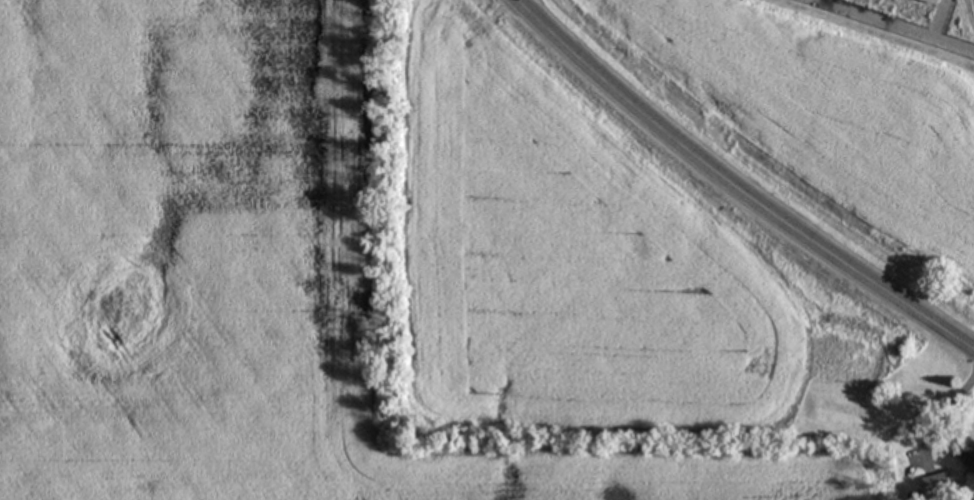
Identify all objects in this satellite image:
road: (515, 0)
building: (937, 2)
road: (871, 32)
road: (734, 187)
road: (939, 421)
building: (968, 455)

